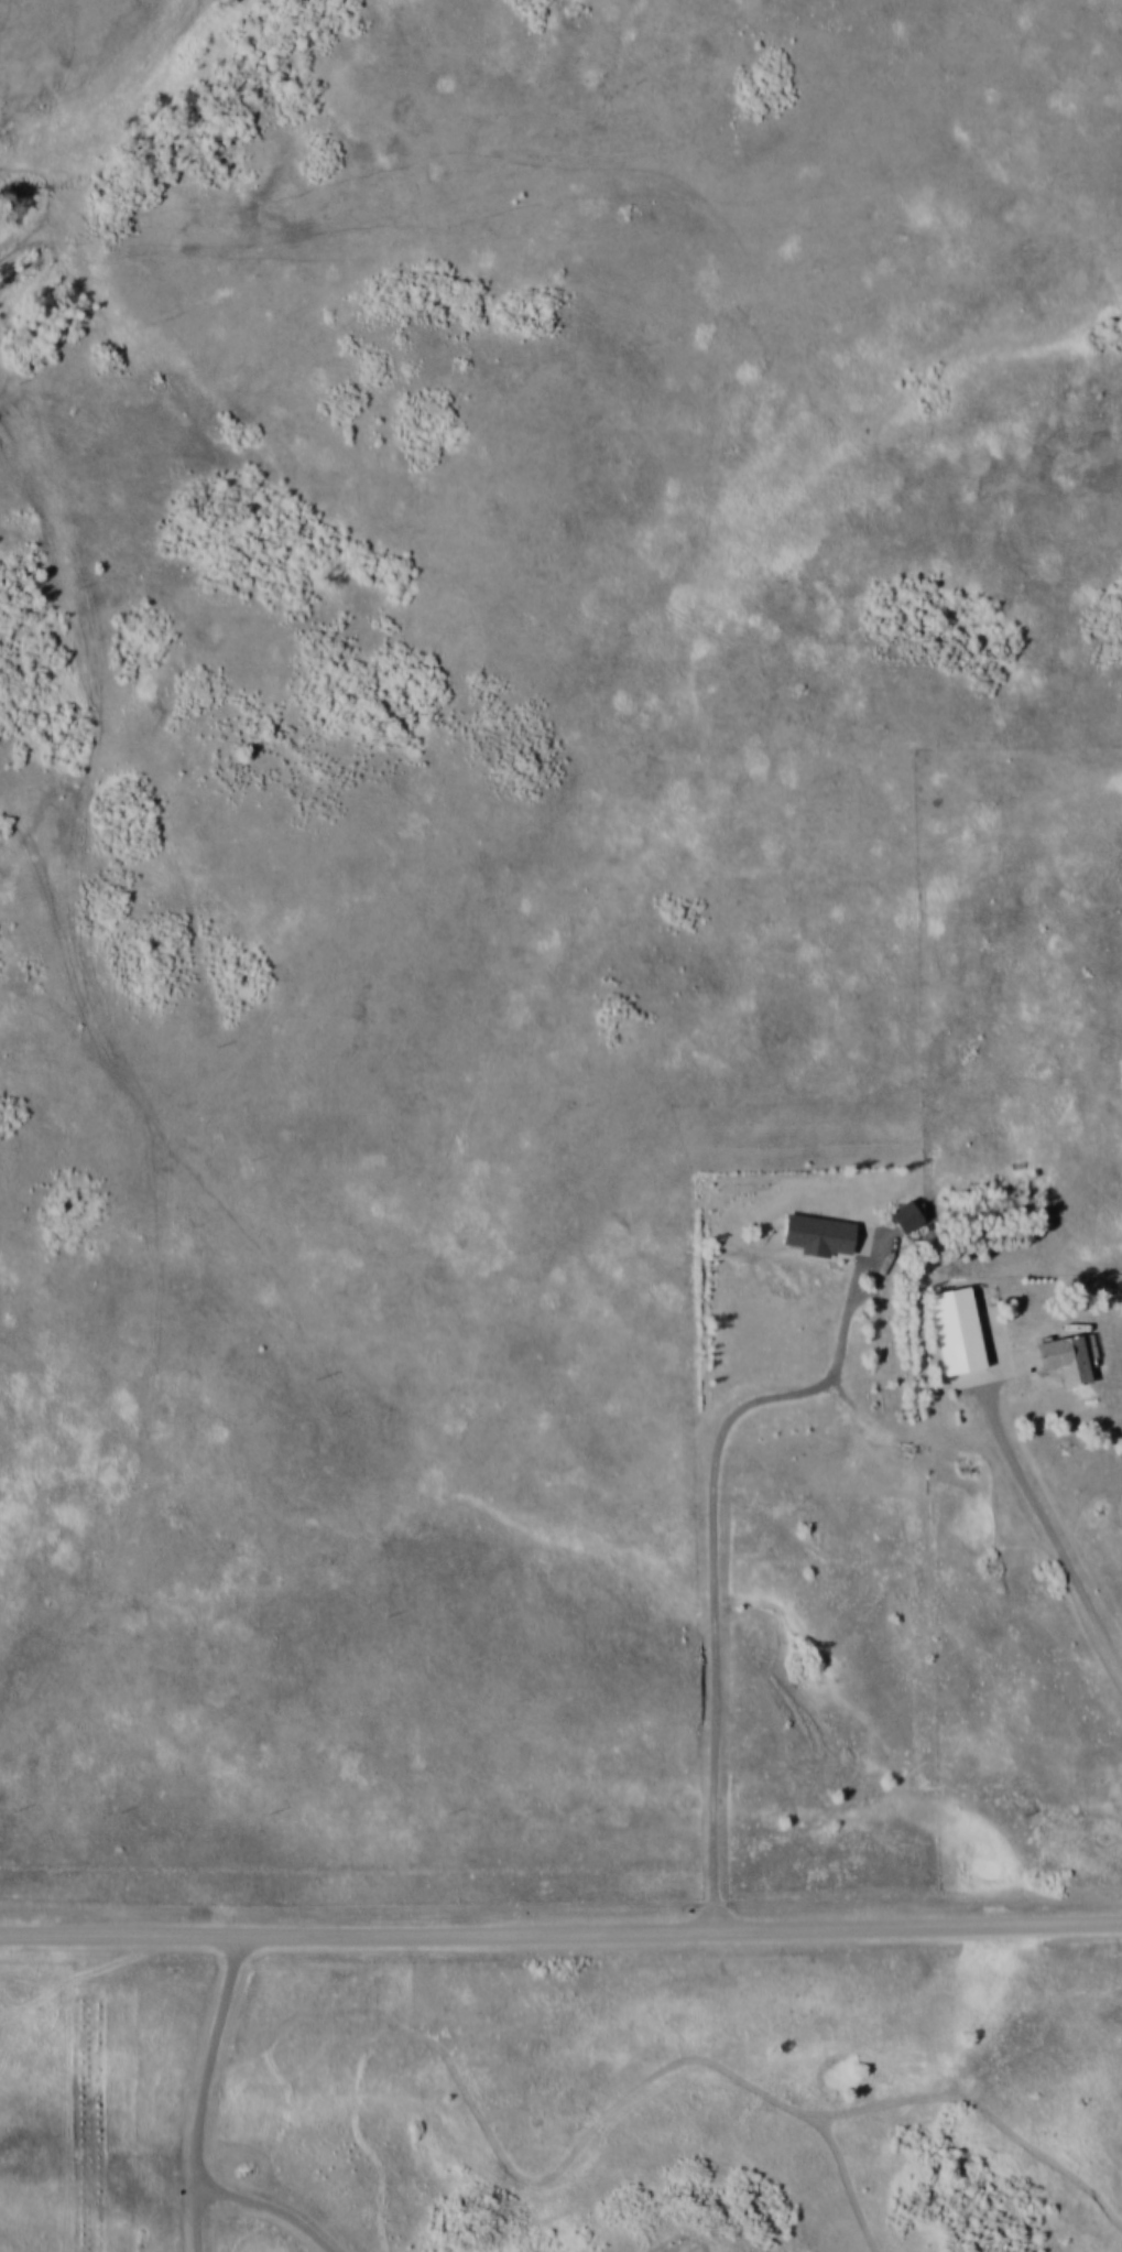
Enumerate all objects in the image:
building: (818, 1235)
building: (1067, 1357)
road: (1047, 1523)
road: (720, 1558)
road: (560, 1937)

